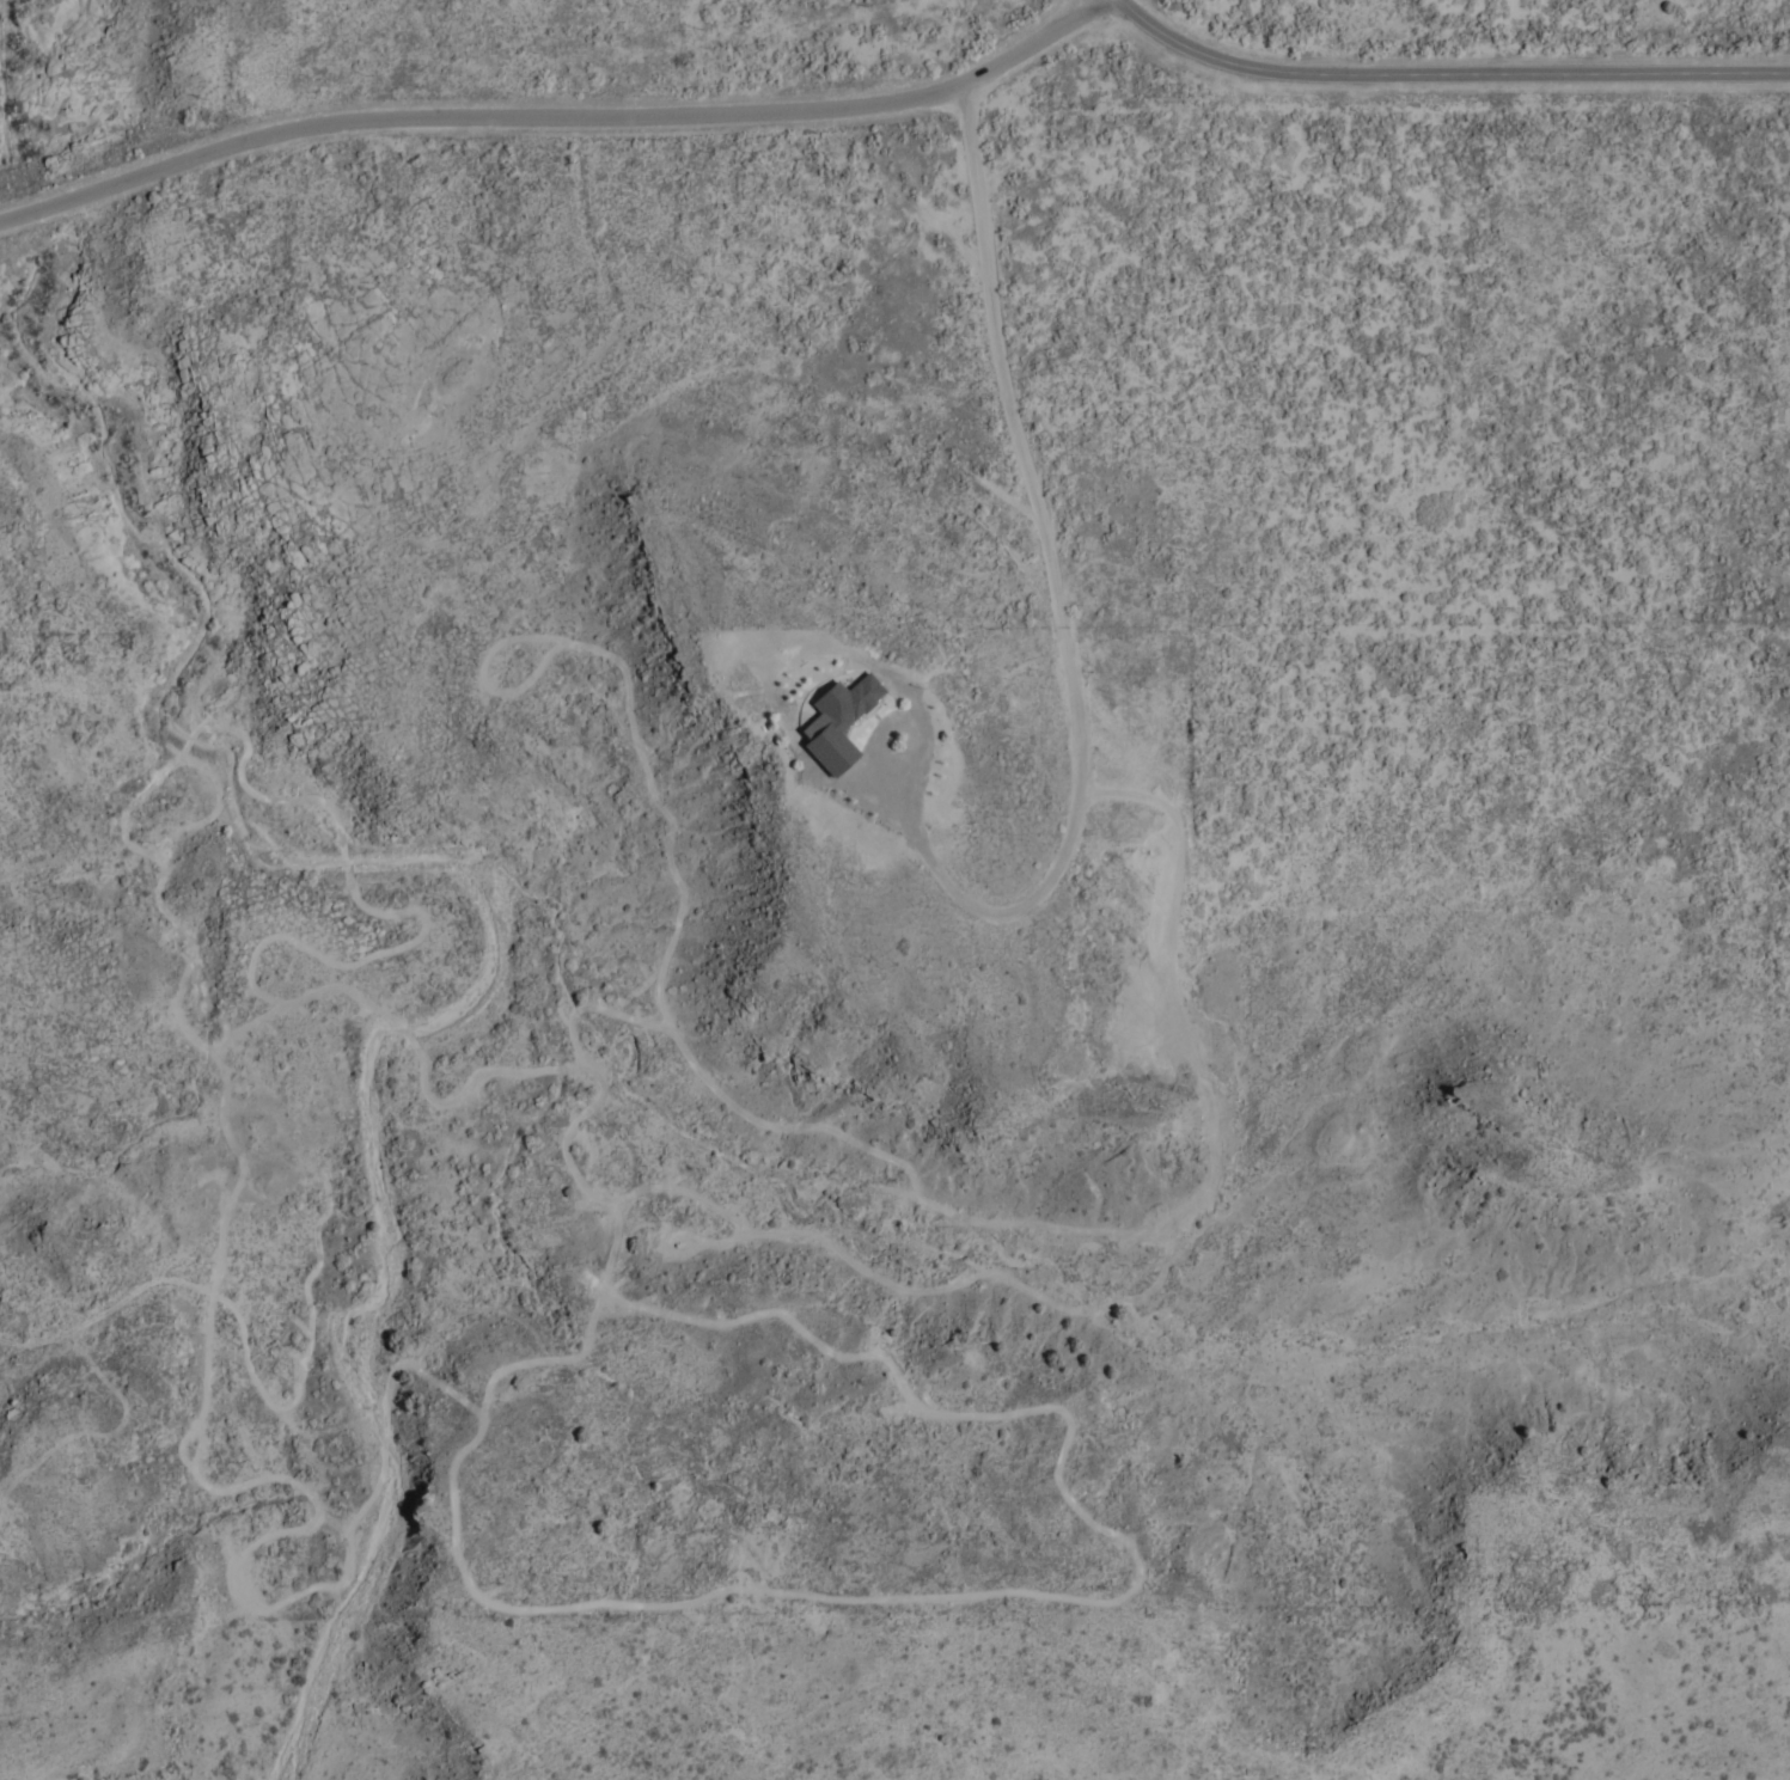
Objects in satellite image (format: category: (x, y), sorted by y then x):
road: (1443, 77)
road: (556, 117)
road: (1263, 606)
building: (850, 703)

